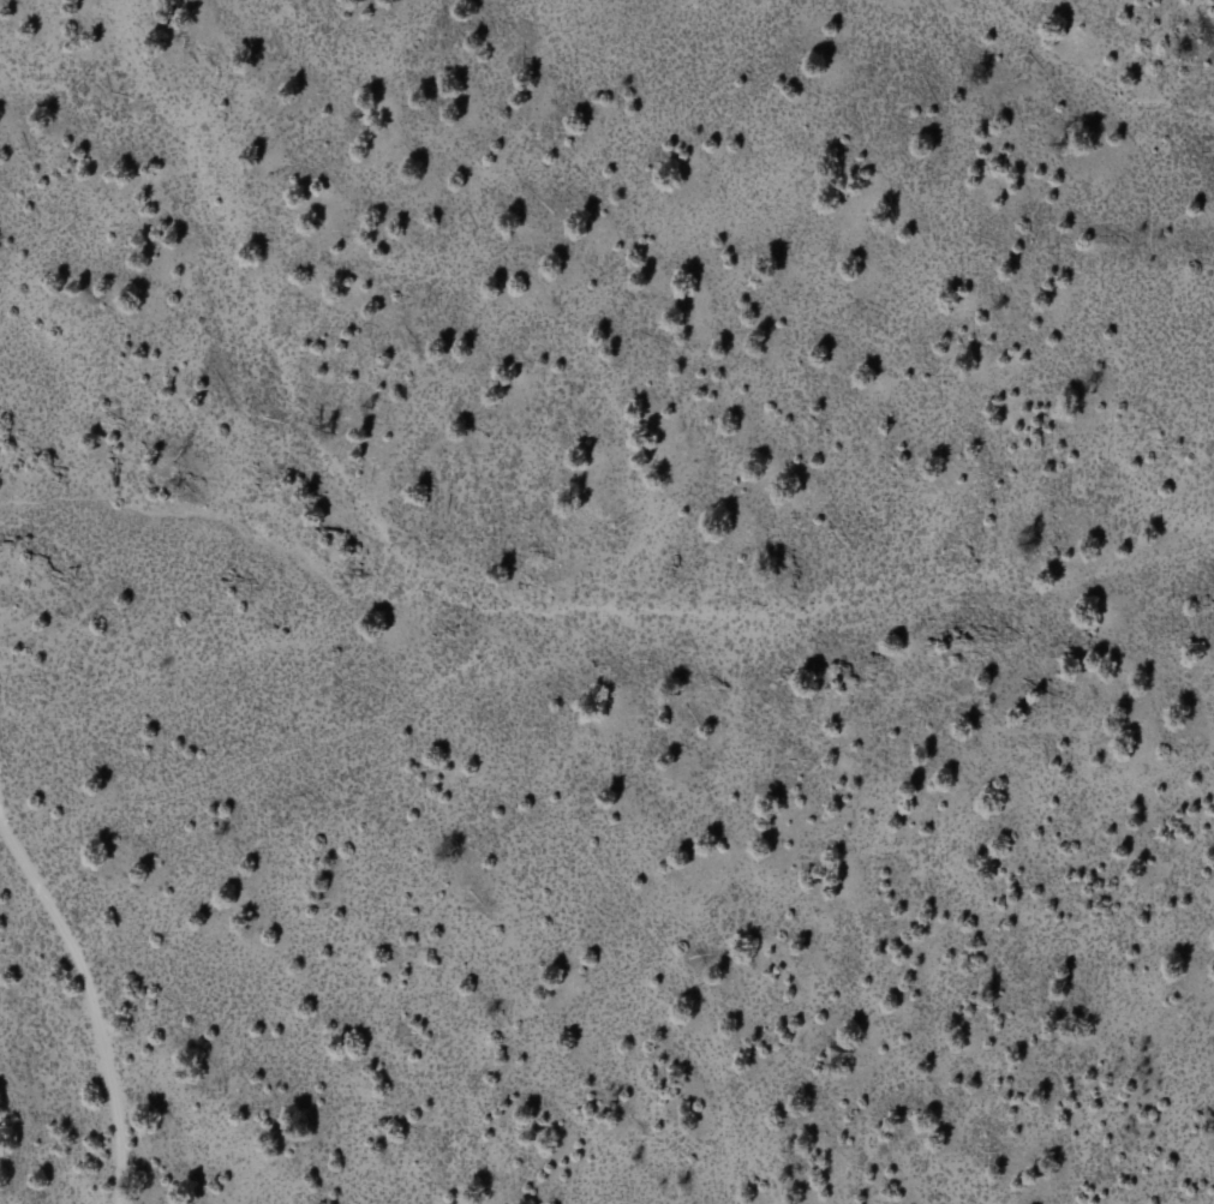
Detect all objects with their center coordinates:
road: (91, 1001)

